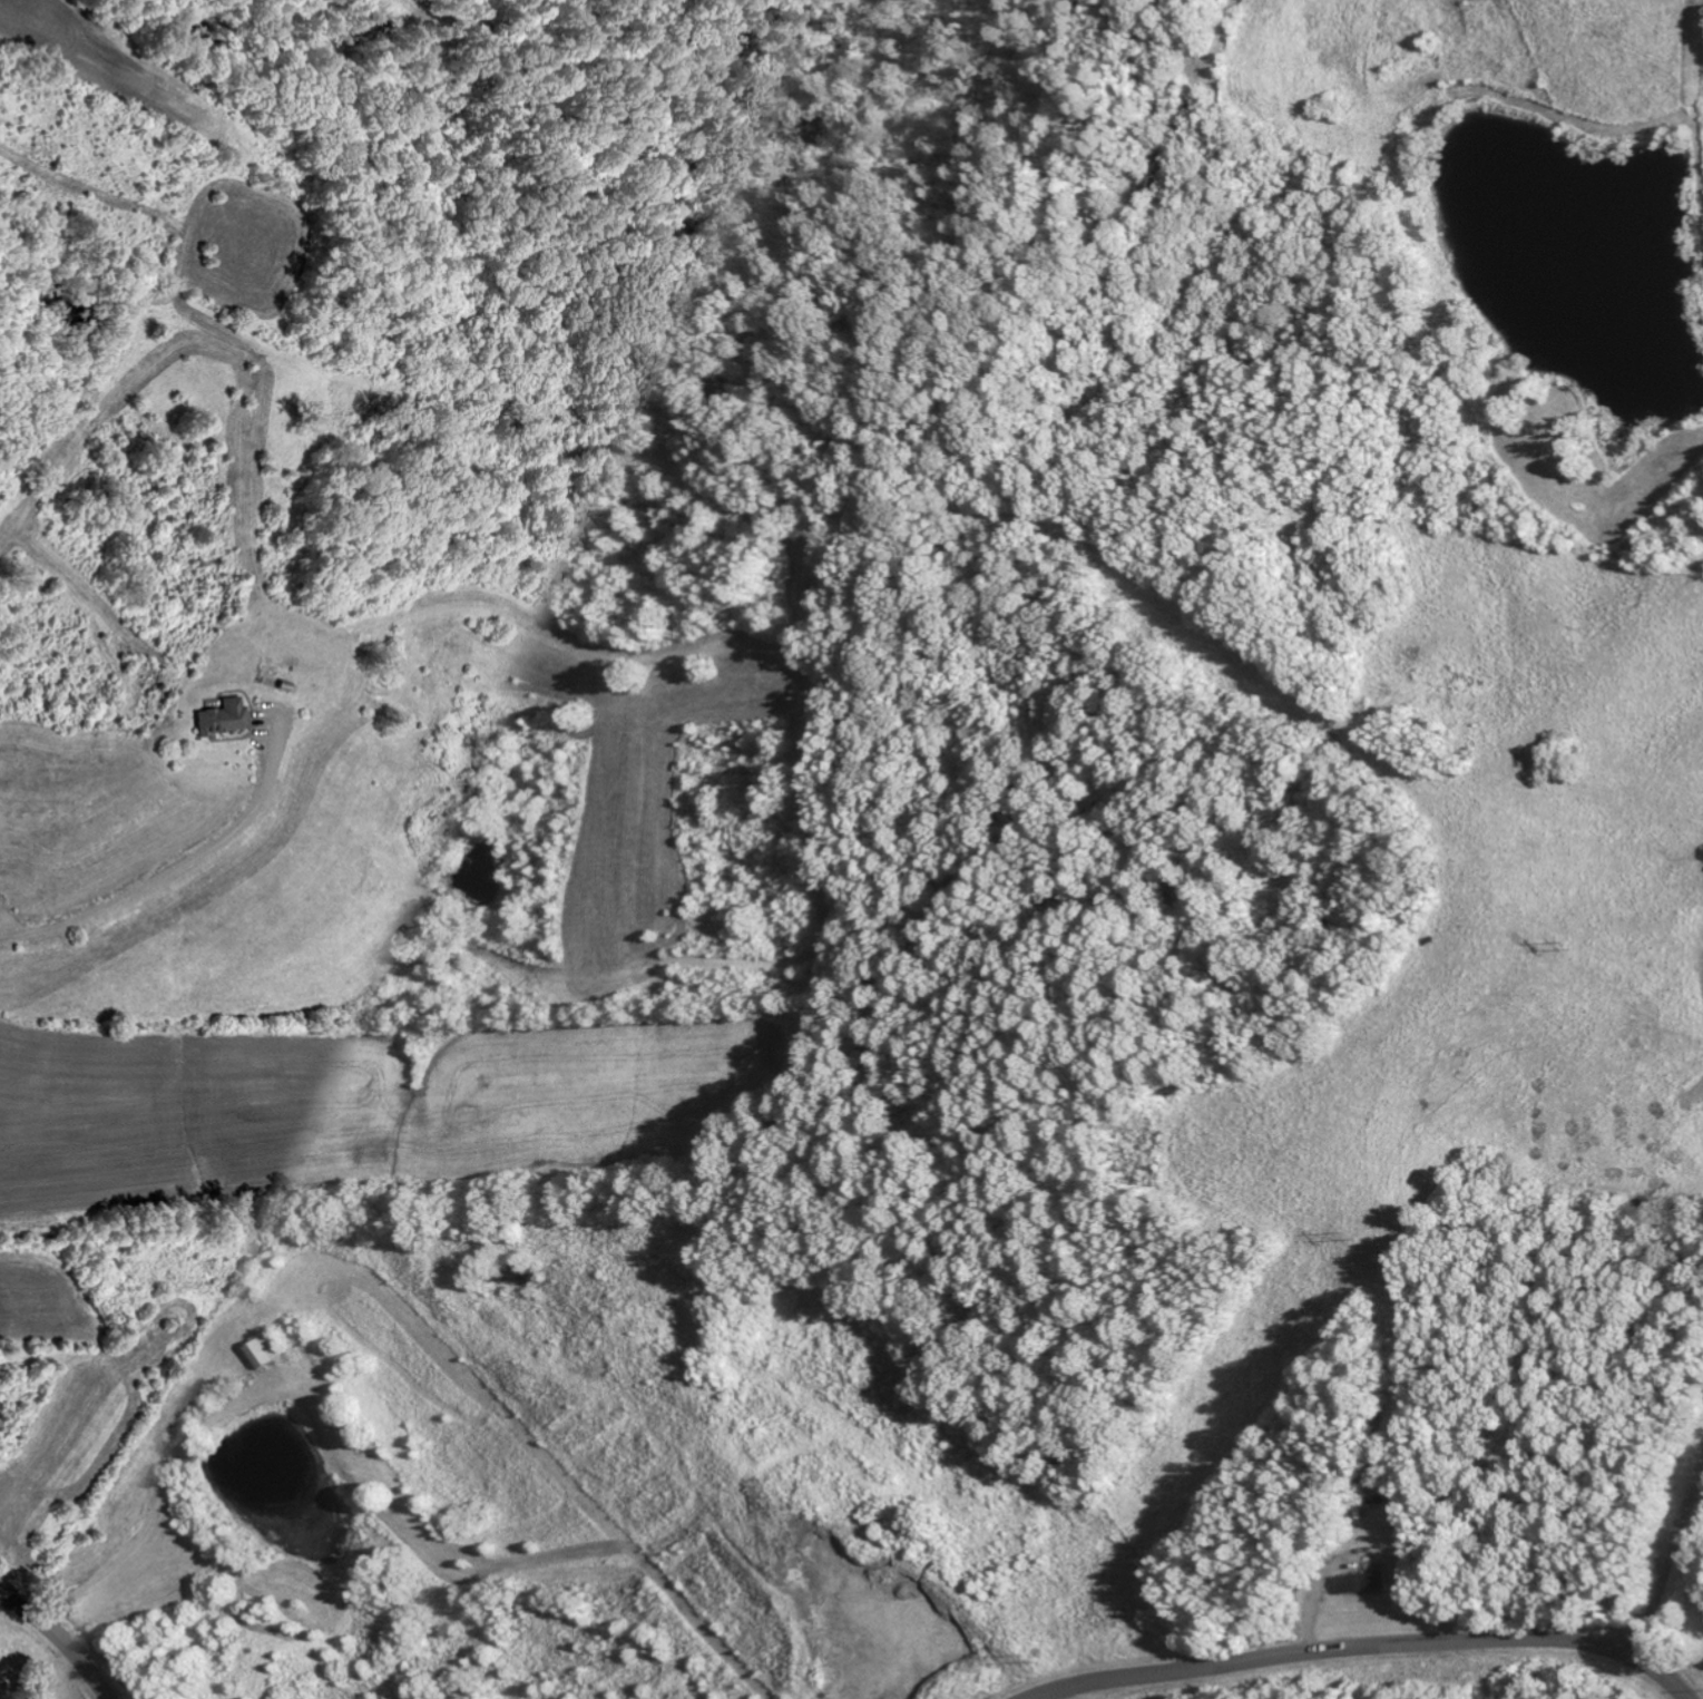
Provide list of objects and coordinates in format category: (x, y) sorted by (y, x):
building: (221, 717)
road: (179, 872)
road: (1673, 1562)
building: (1362, 1582)
road: (61, 1639)
road: (1374, 1641)
road: (1032, 1696)

